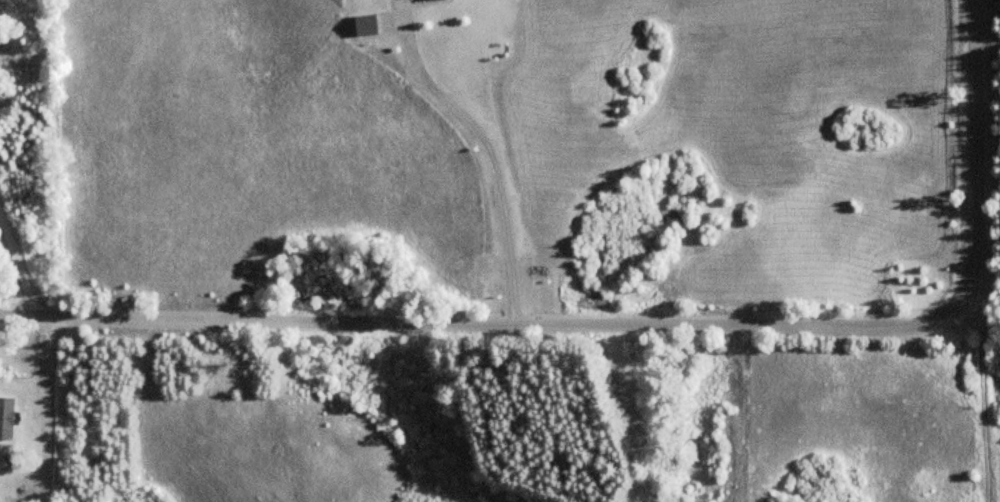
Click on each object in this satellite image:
road: (977, 150)
road: (18, 263)
road: (483, 321)
building: (5, 418)

